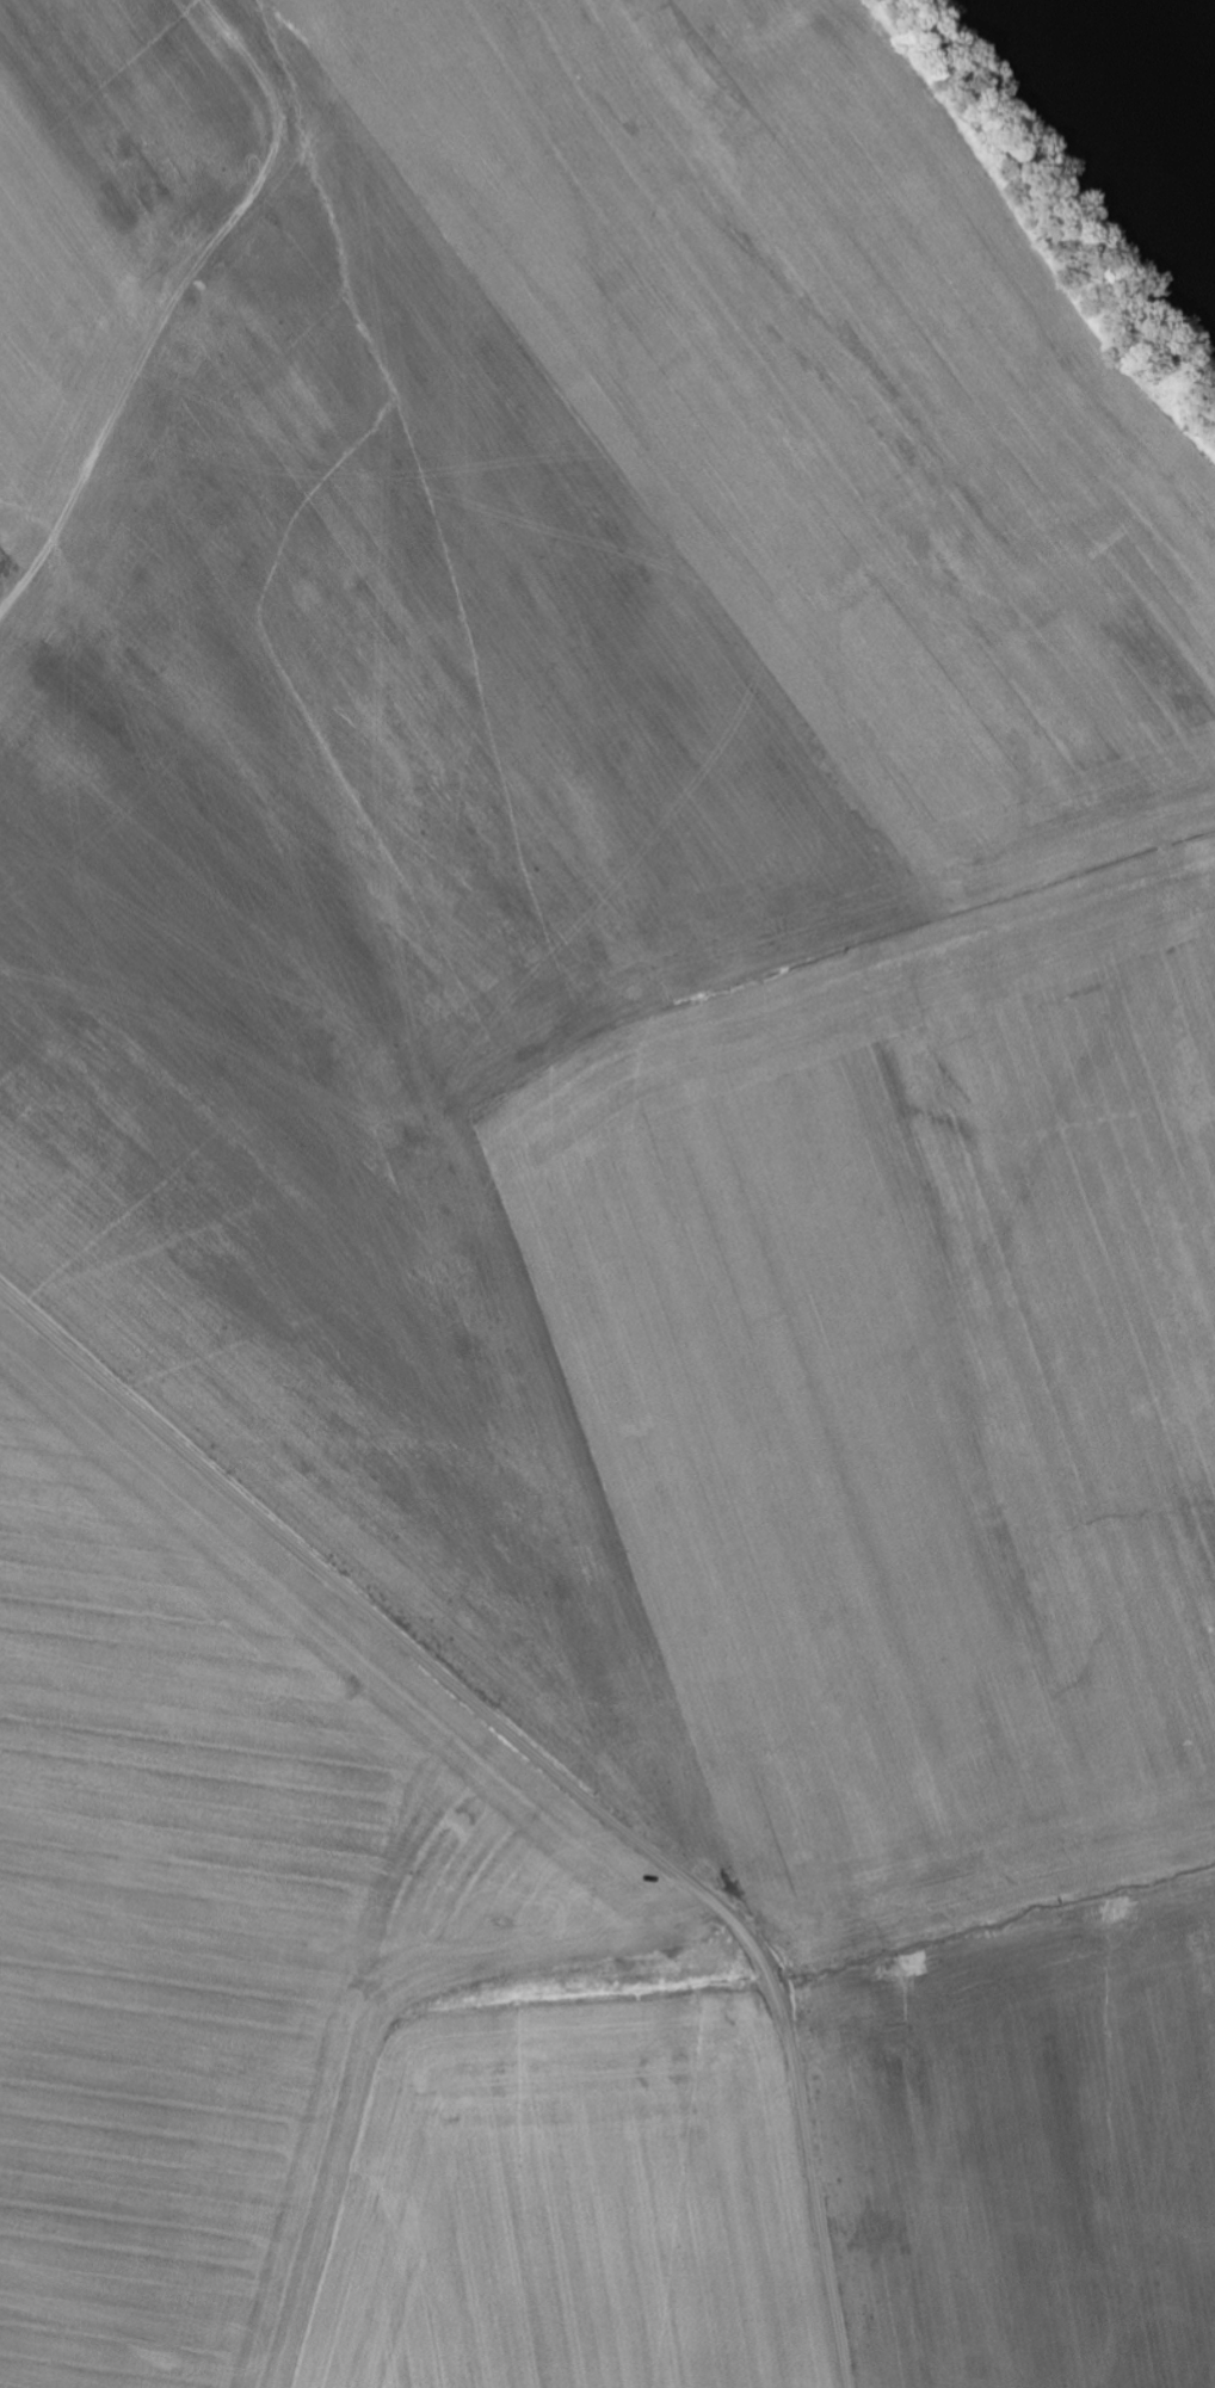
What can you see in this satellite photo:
river: (1166, 72)
road: (357, 1602)
road: (351, 1933)
road: (806, 2139)

